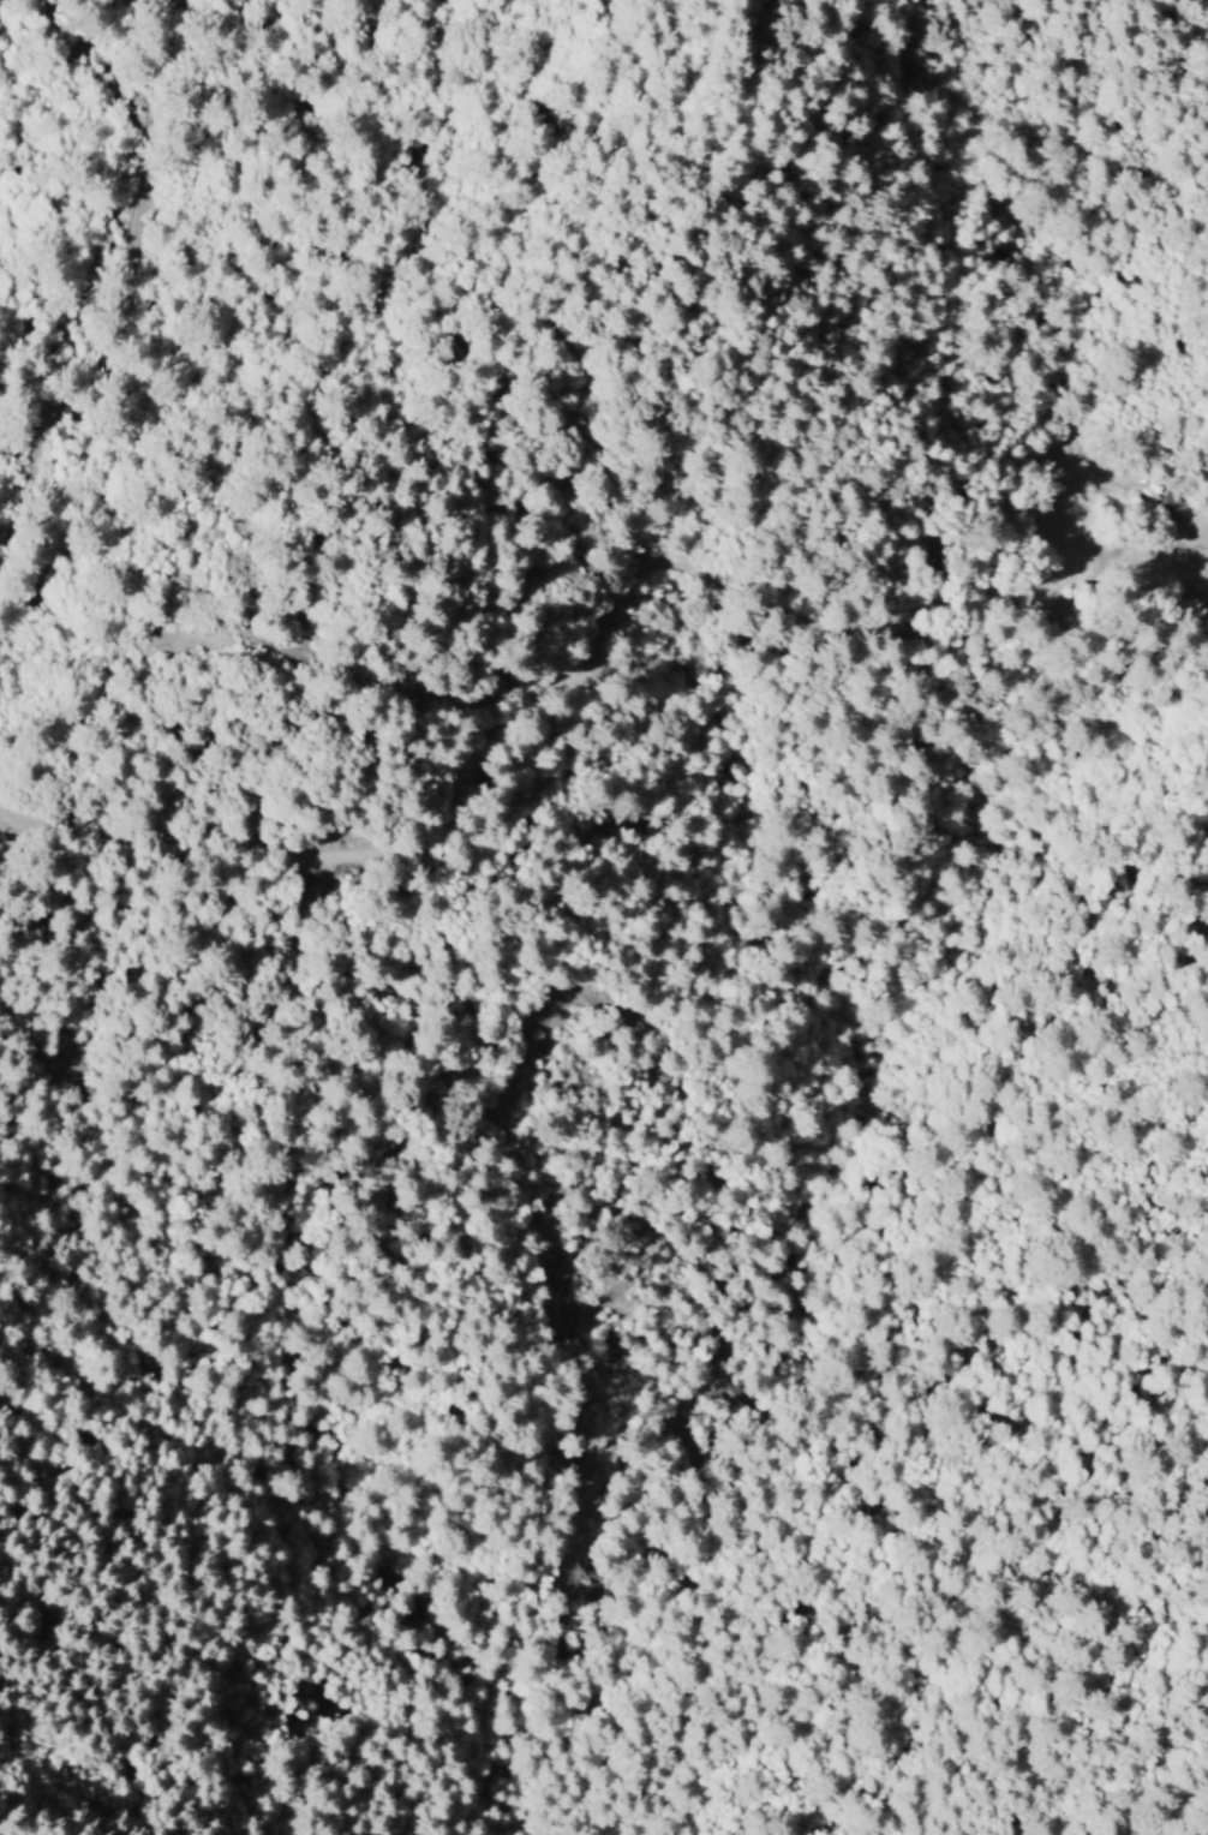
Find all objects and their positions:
road: (97, 277)
road: (590, 667)

